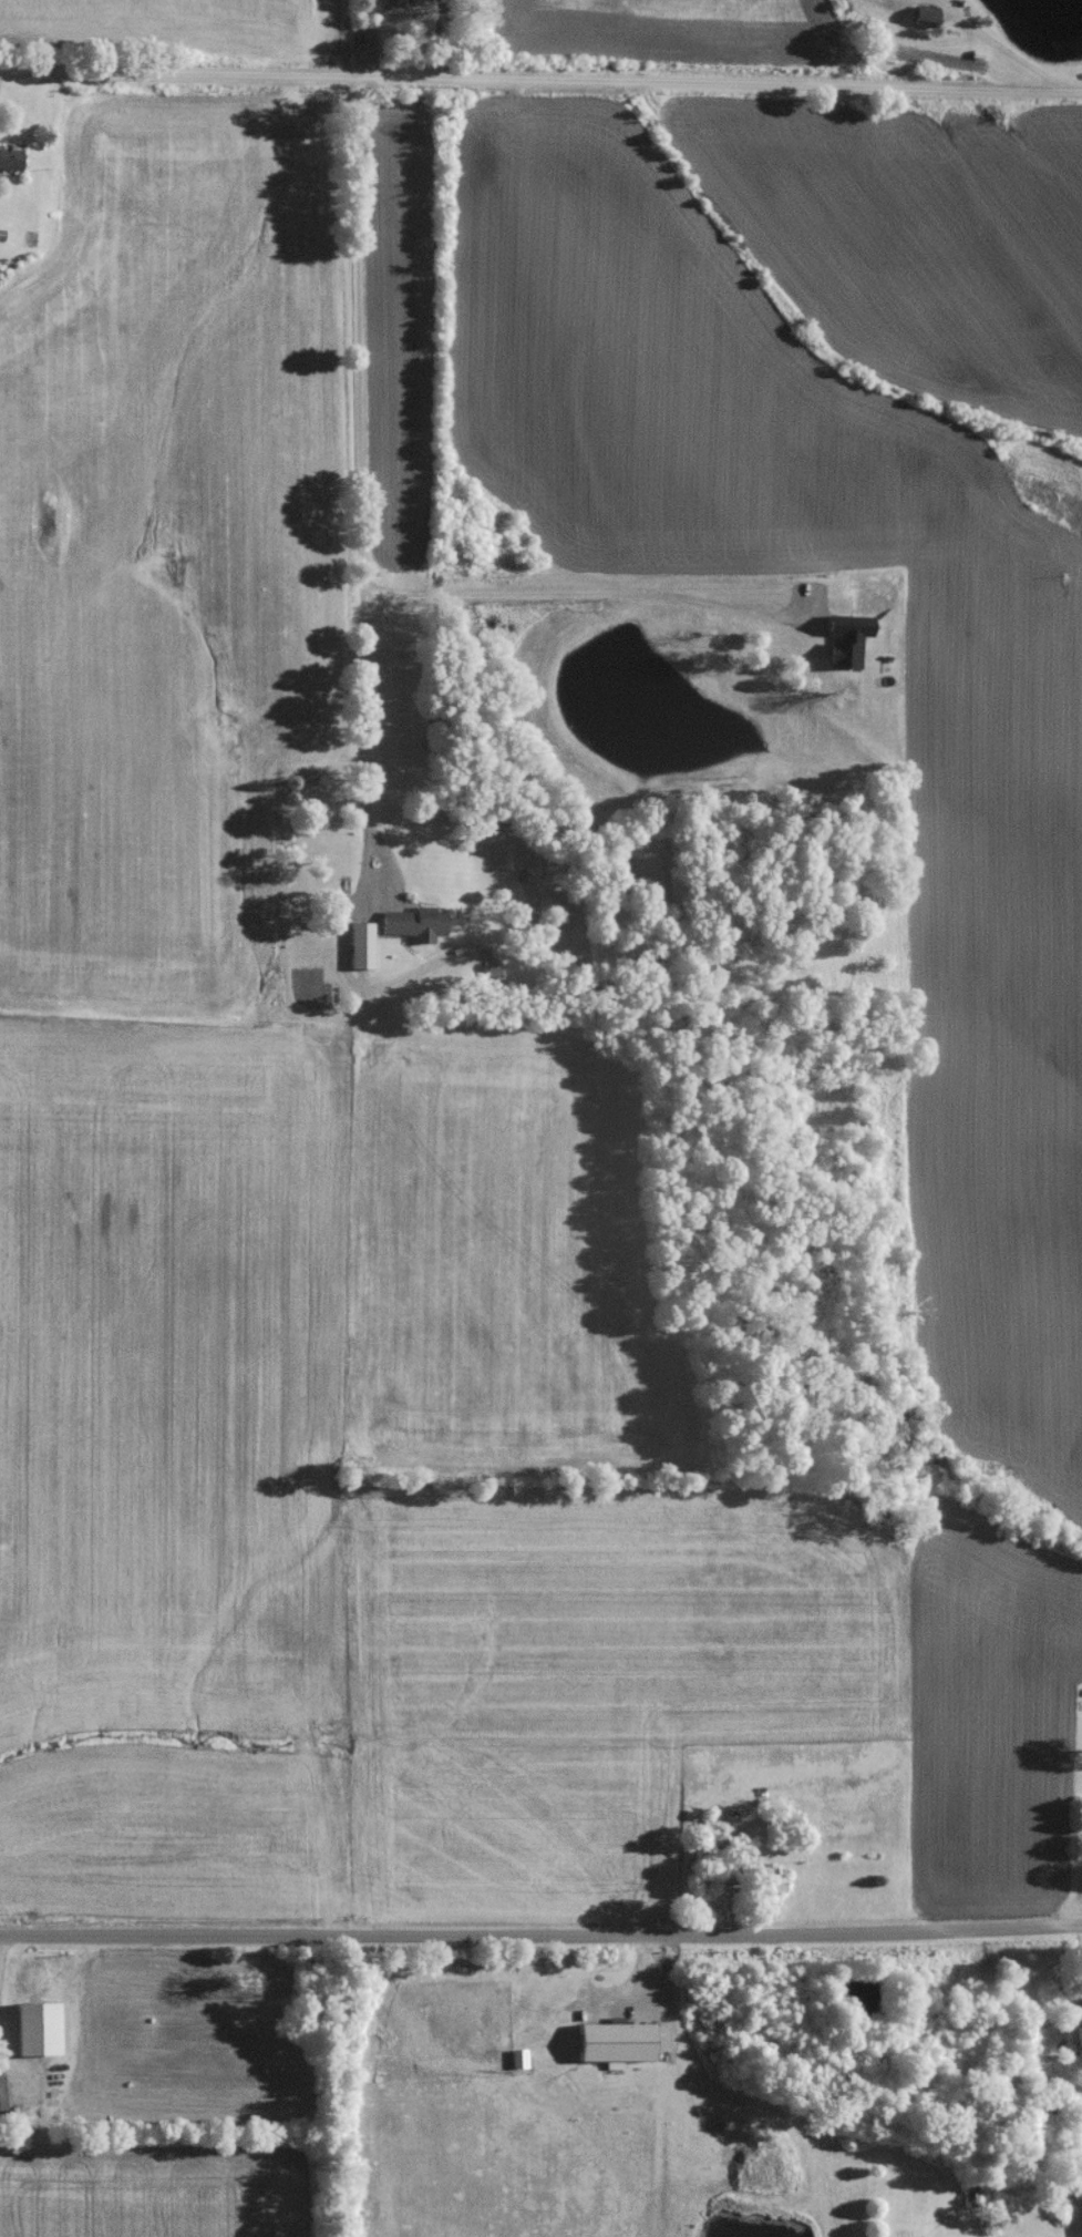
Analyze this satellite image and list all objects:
building: (893, 0)
building: (399, 1)
building: (918, 24)
road: (1006, 41)
road: (540, 71)
building: (10, 165)
road: (360, 471)
road: (581, 592)
building: (326, 881)
building: (411, 930)
building: (358, 952)
building: (490, 975)
building: (766, 1890)
road: (540, 1940)
road: (0, 1957)
building: (611, 2049)
road: (12, 2062)
building: (1000, 2093)
building: (0, 2099)
building: (12, 2128)

